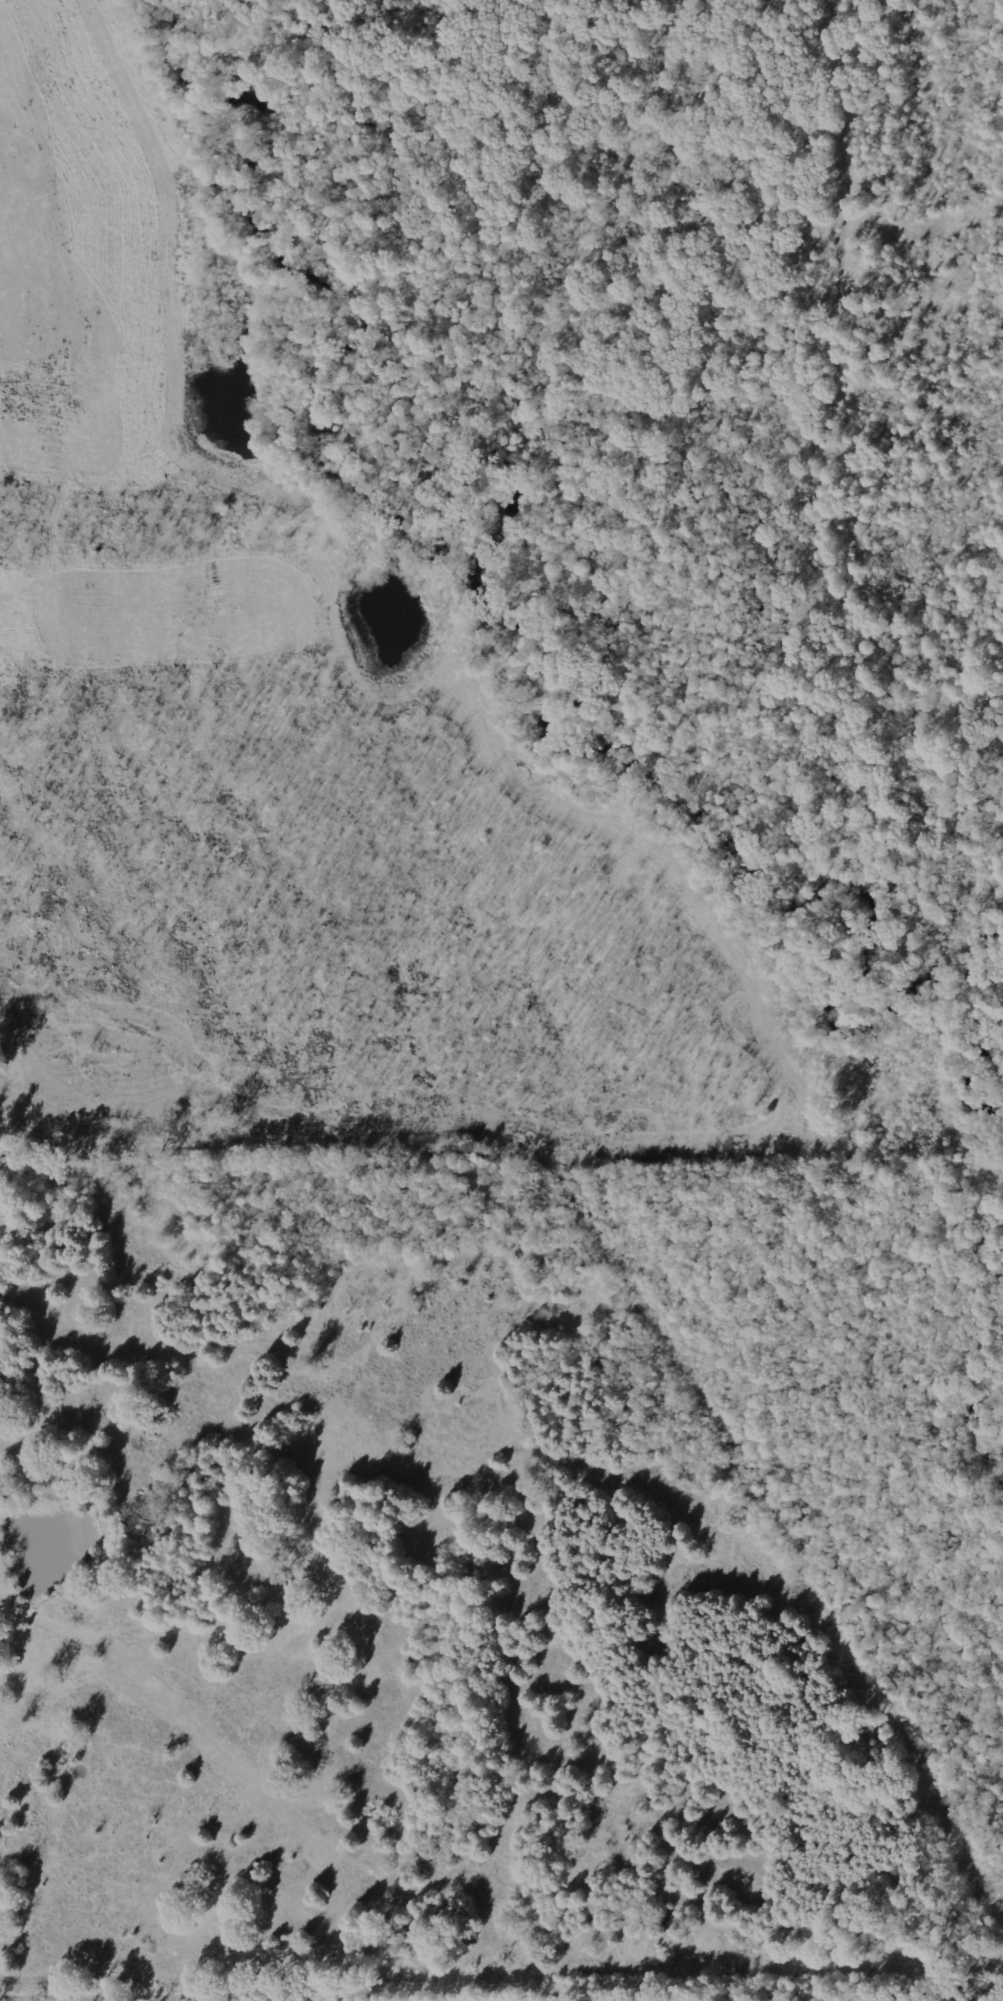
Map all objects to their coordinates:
road: (154, 1999)

